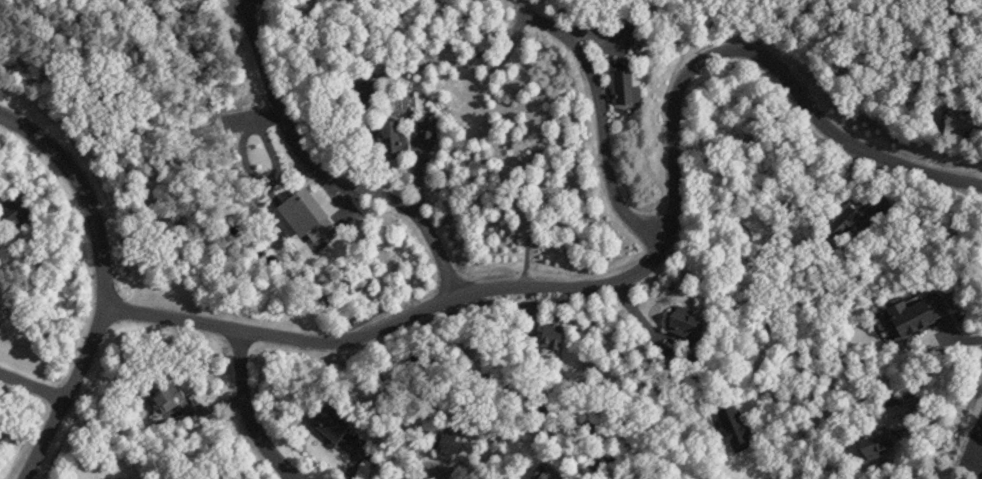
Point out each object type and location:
building: (623, 86)
road: (600, 117)
building: (960, 120)
building: (425, 126)
building: (391, 133)
road: (320, 173)
building: (12, 209)
road: (641, 264)
road: (100, 284)
building: (686, 318)
building: (551, 331)
road: (32, 381)
building: (165, 395)
road: (940, 406)
road: (252, 413)
building: (331, 419)
building: (874, 439)
building: (446, 446)
road: (977, 446)
building: (548, 472)
building: (121, 477)

